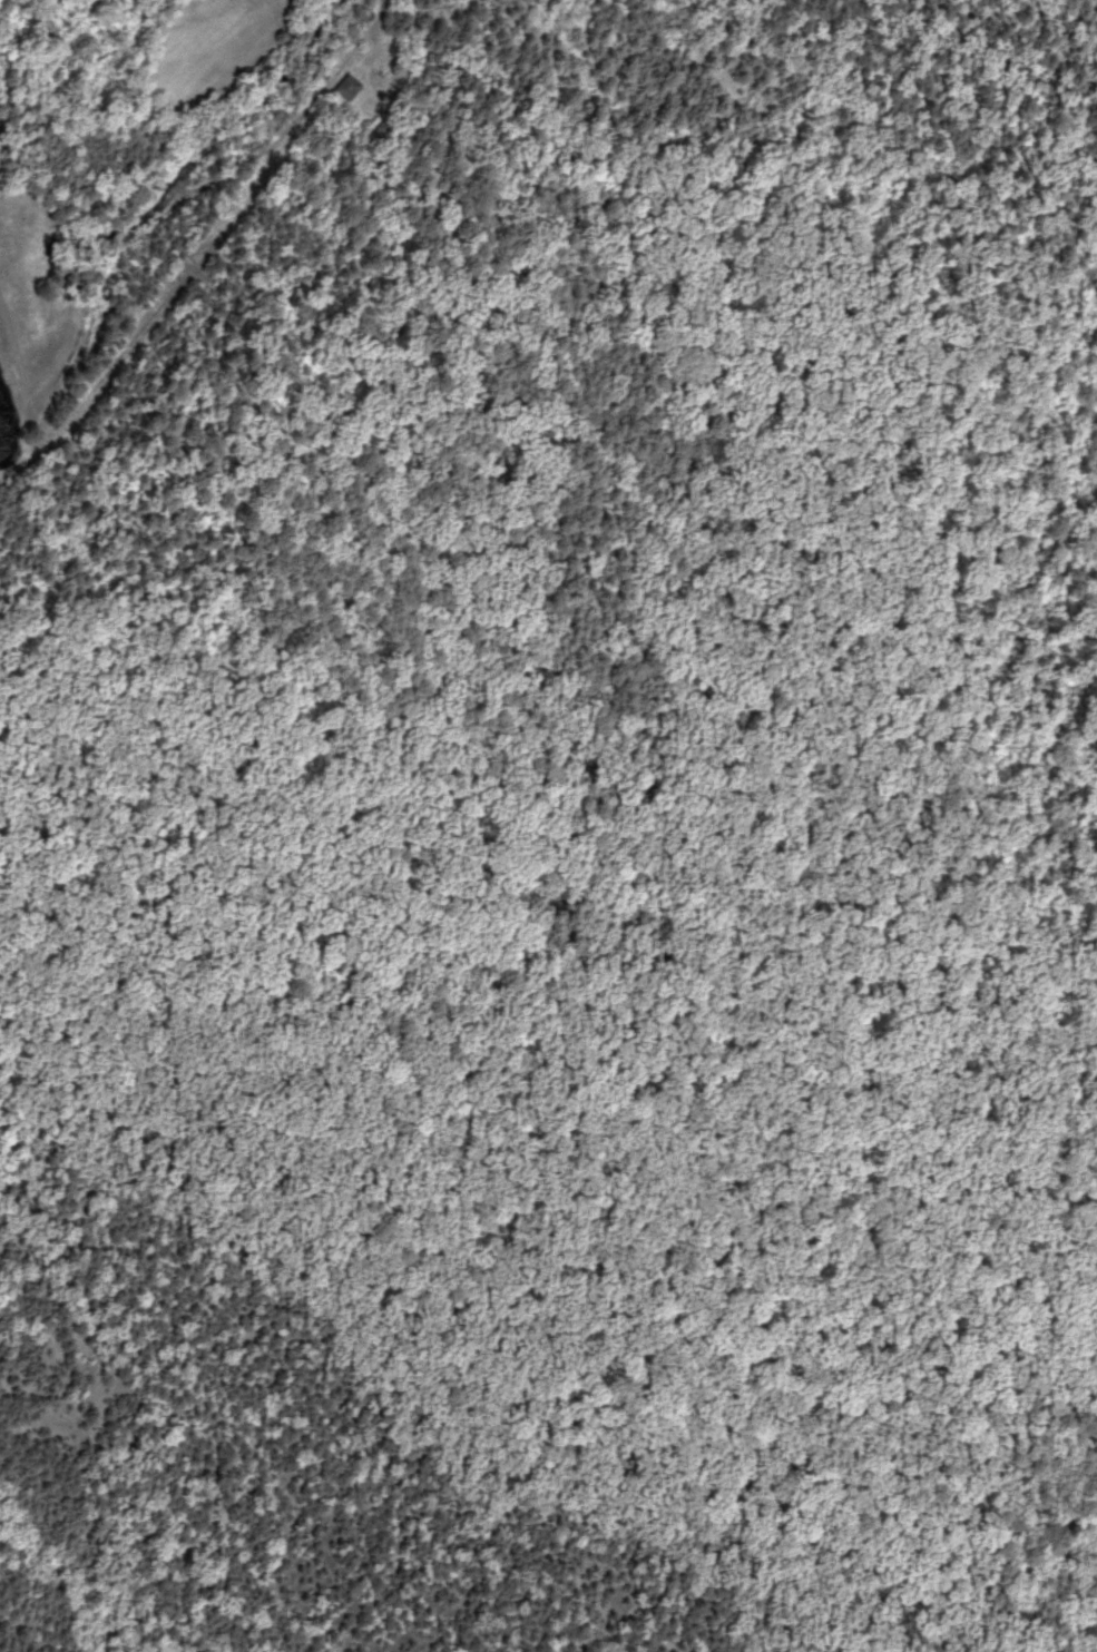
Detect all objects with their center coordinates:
building: (345, 88)

